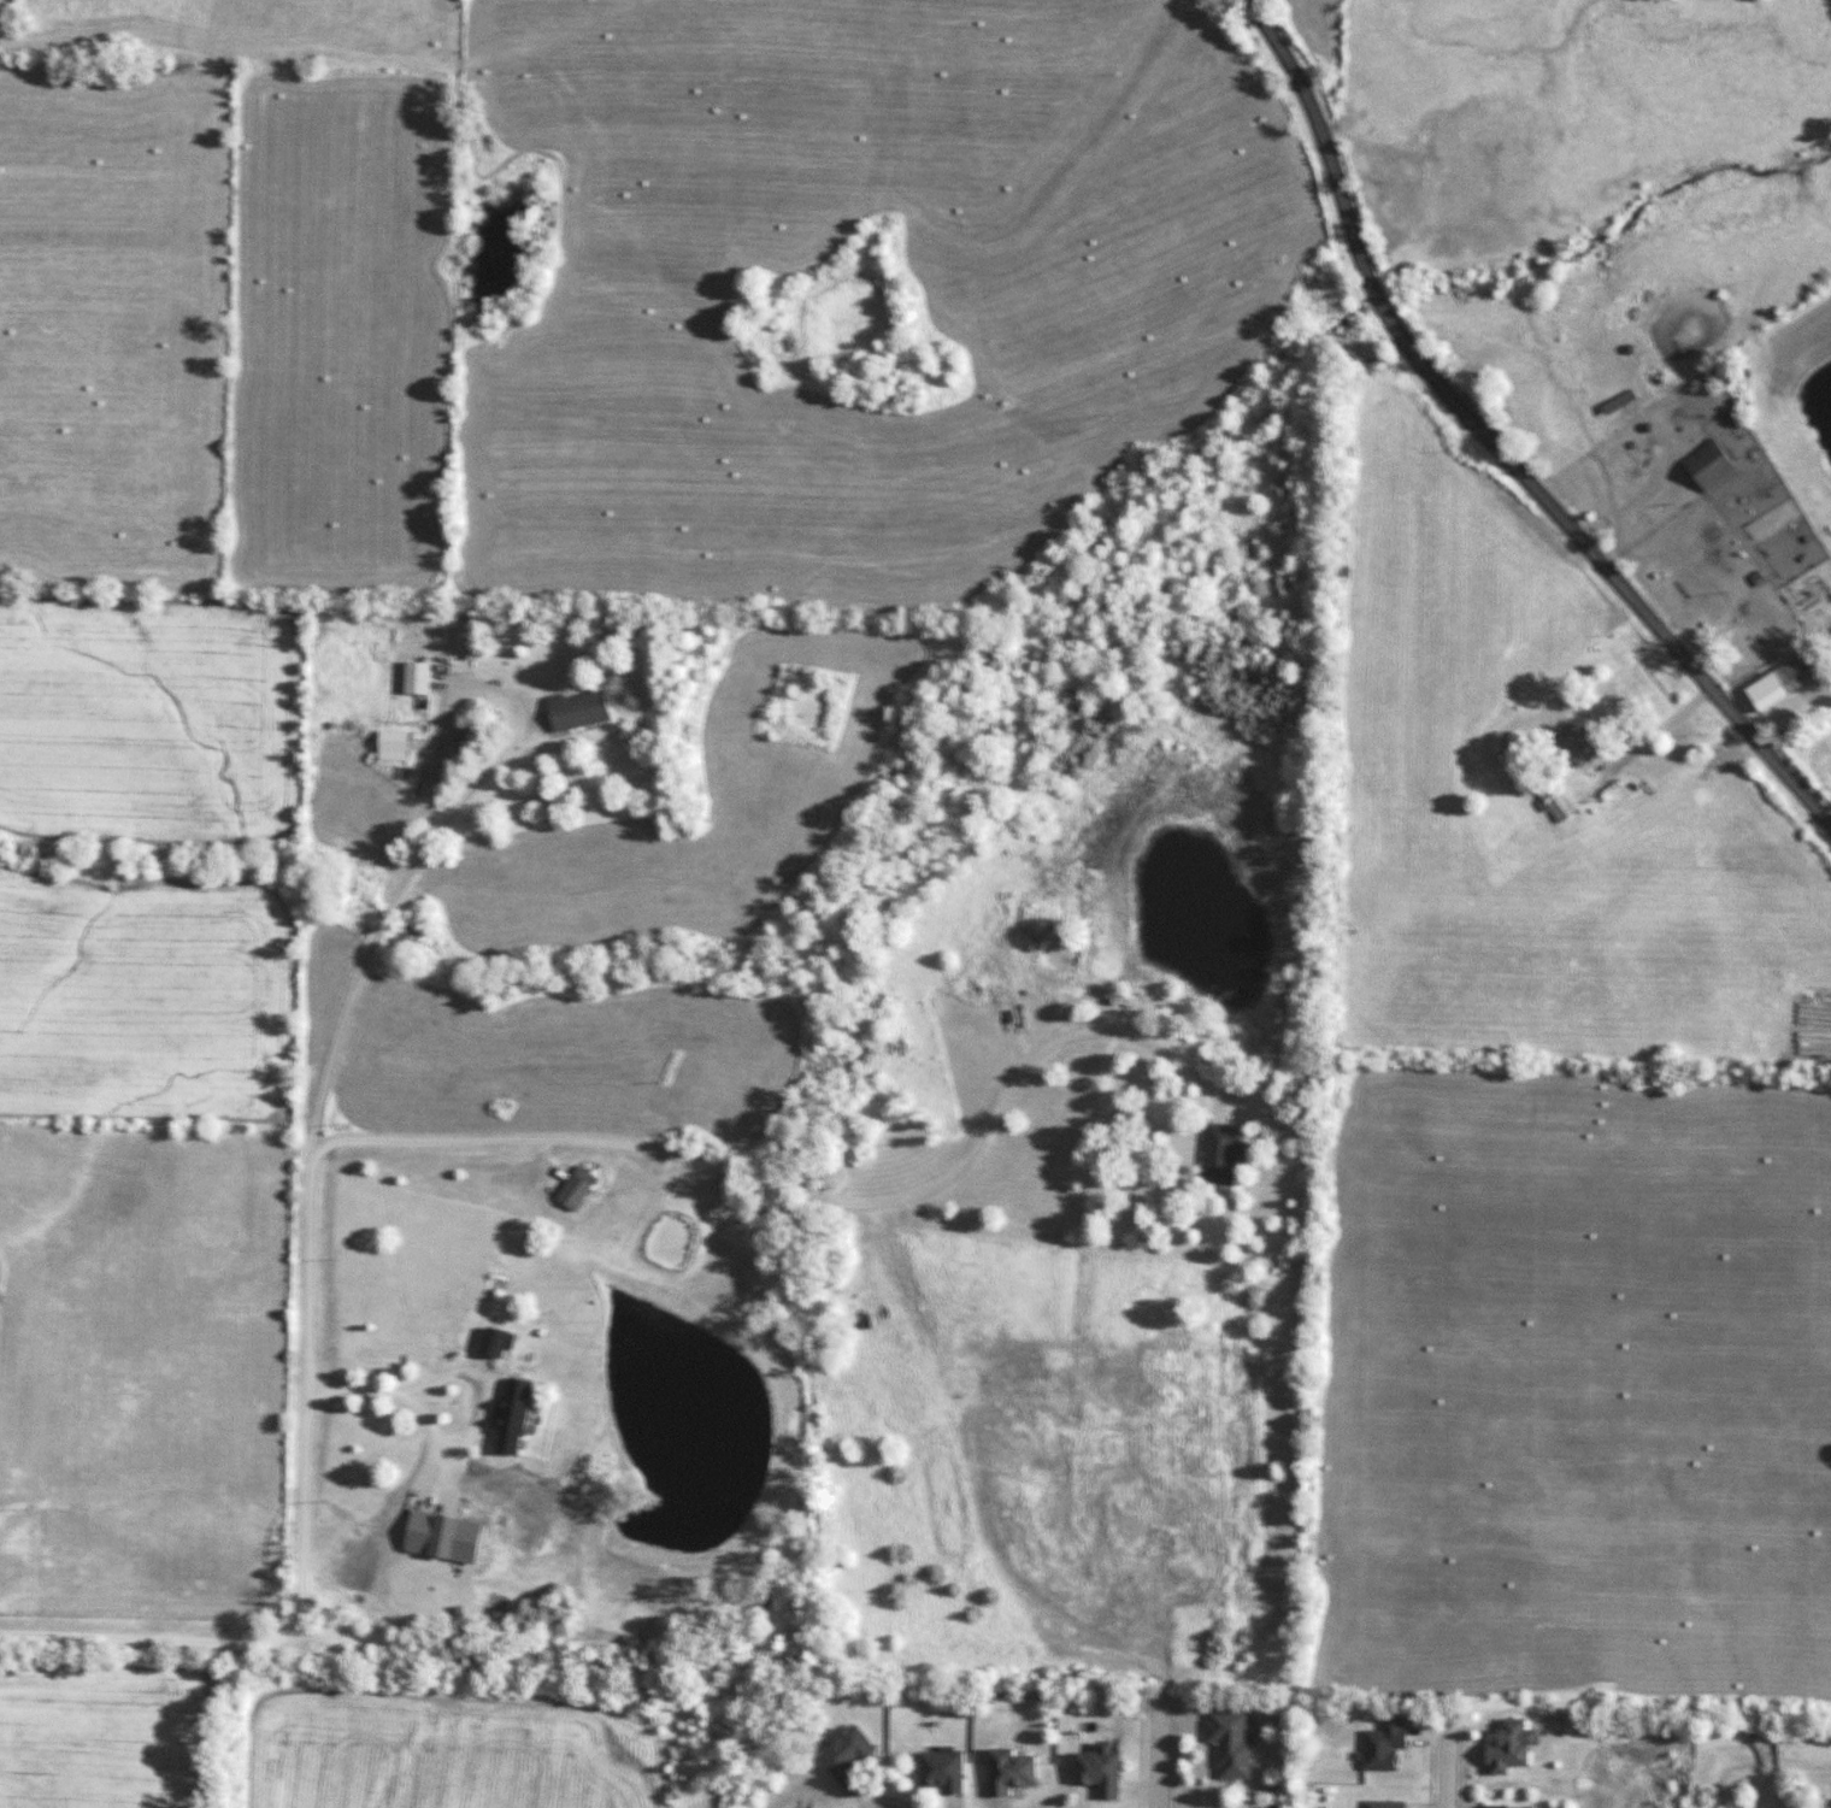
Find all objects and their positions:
building: (1617, 402)
road: (1489, 442)
building: (1707, 466)
building: (423, 677)
building: (1777, 682)
road: (496, 689)
building: (584, 709)
building: (1571, 744)
building: (1553, 800)
building: (1221, 1153)
road: (759, 1179)
building: (581, 1188)
building: (623, 1232)
building: (500, 1342)
road: (465, 1373)
road: (304, 1379)
building: (1232, 1745)
building: (1517, 1745)
building: (1387, 1747)
building: (852, 1755)
road: (1153, 1755)
road: (1446, 1768)
building: (948, 1771)
building: (1014, 1771)
building: (1102, 1772)
building: (1388, 1803)
building: (1514, 1807)

